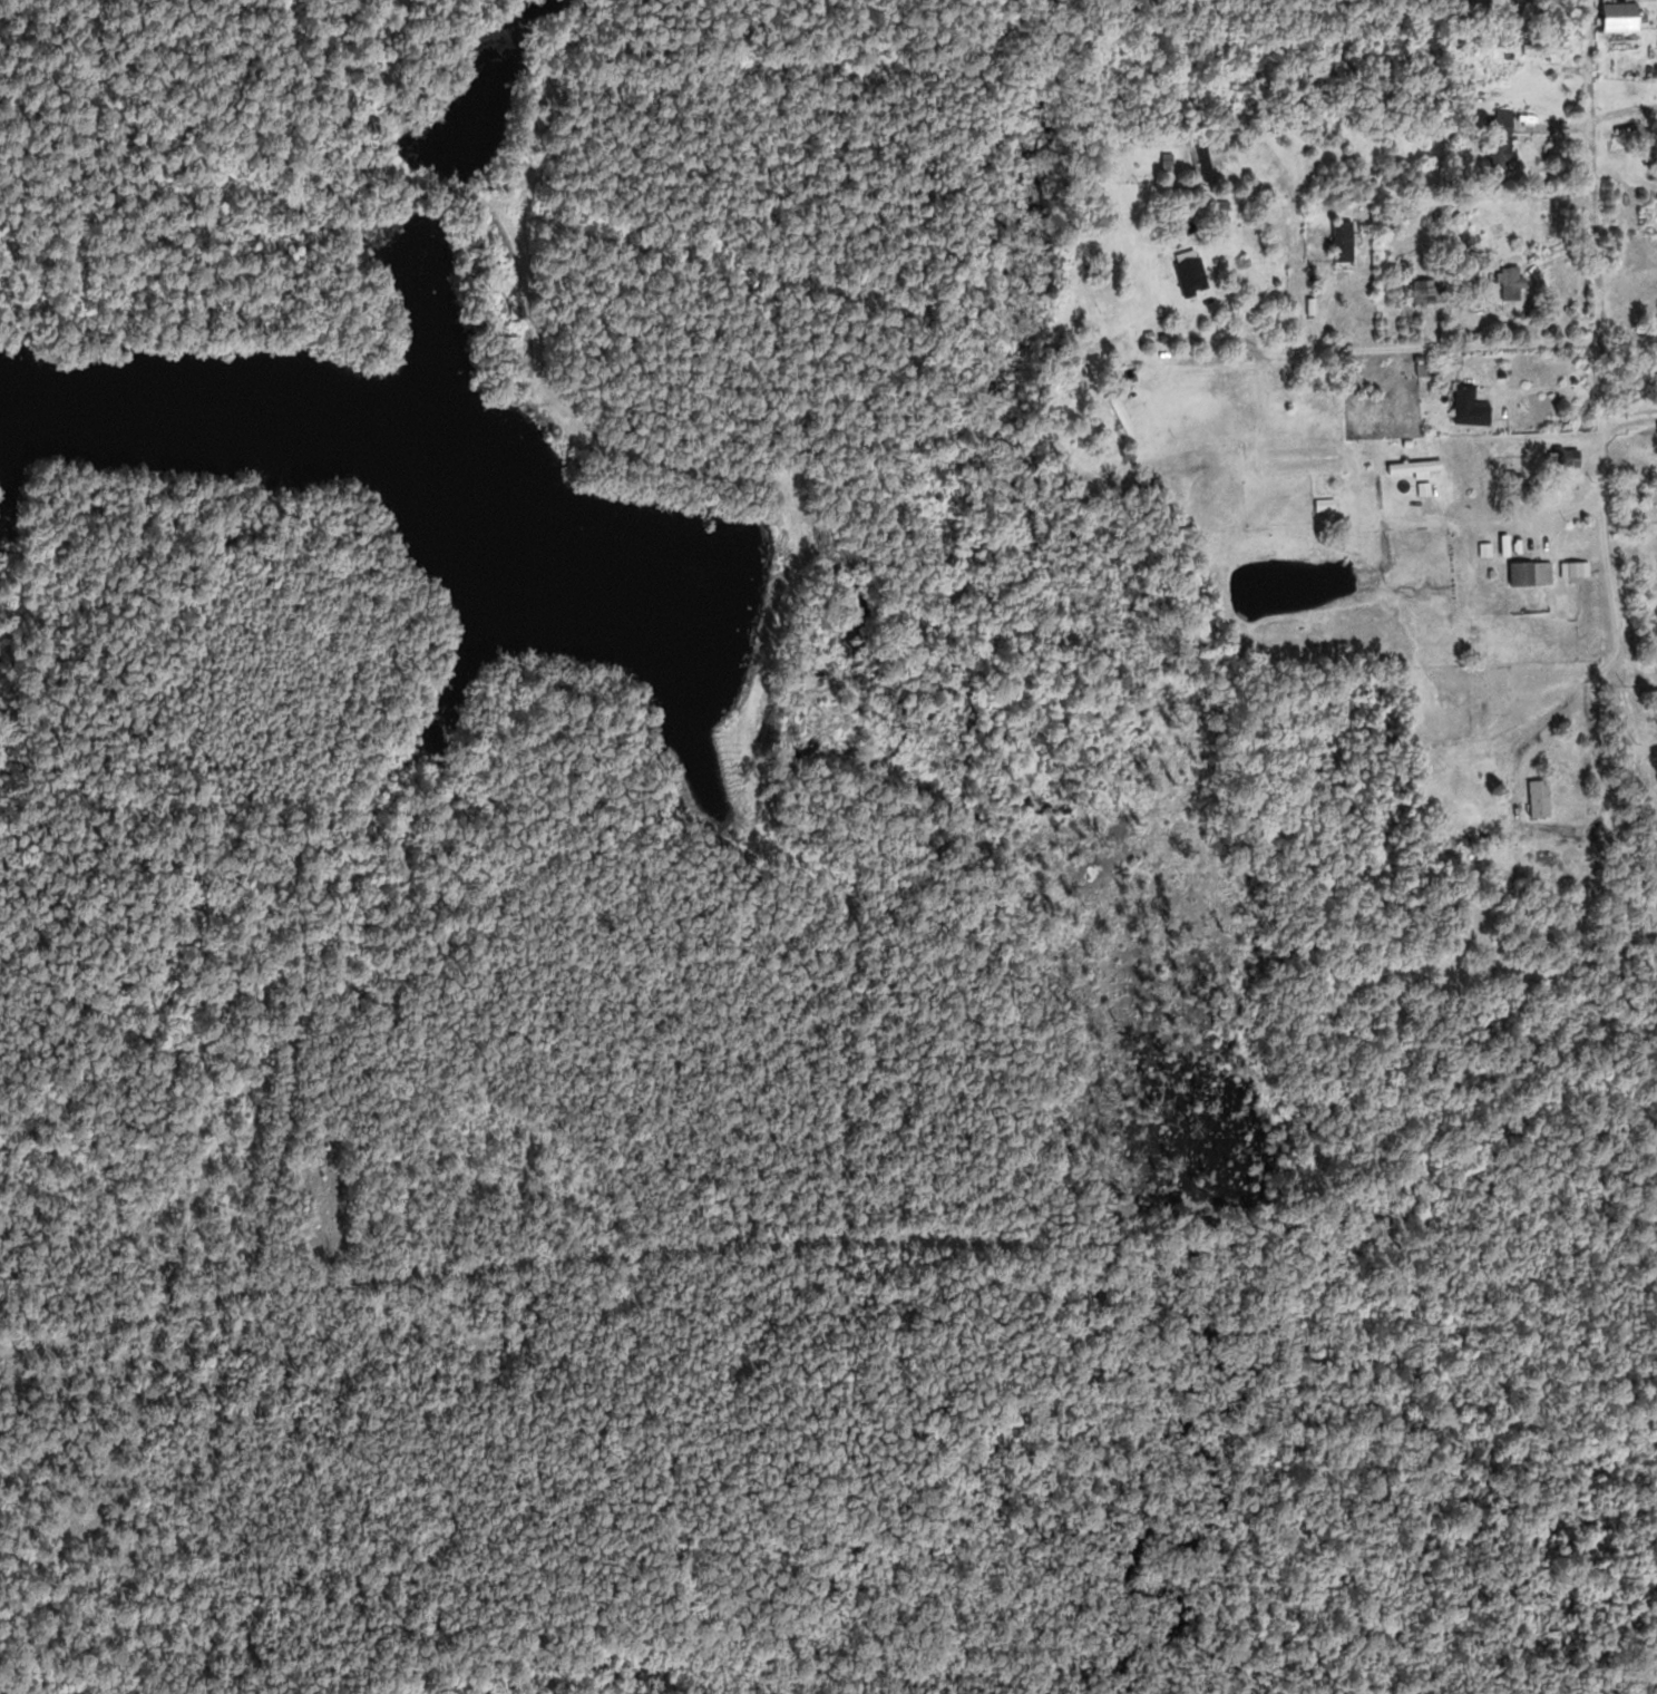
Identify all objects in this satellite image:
building: (1624, 16)
building: (1547, 49)
building: (1505, 120)
building: (1502, 152)
building: (1205, 157)
building: (1345, 241)
building: (1514, 283)
building: (1429, 292)
road: (1342, 350)
road: (1599, 403)
building: (1471, 407)
building: (1123, 412)
building: (1567, 458)
building: (1416, 466)
building: (1325, 505)
building: (1528, 574)
building: (1563, 592)
building: (1541, 799)

